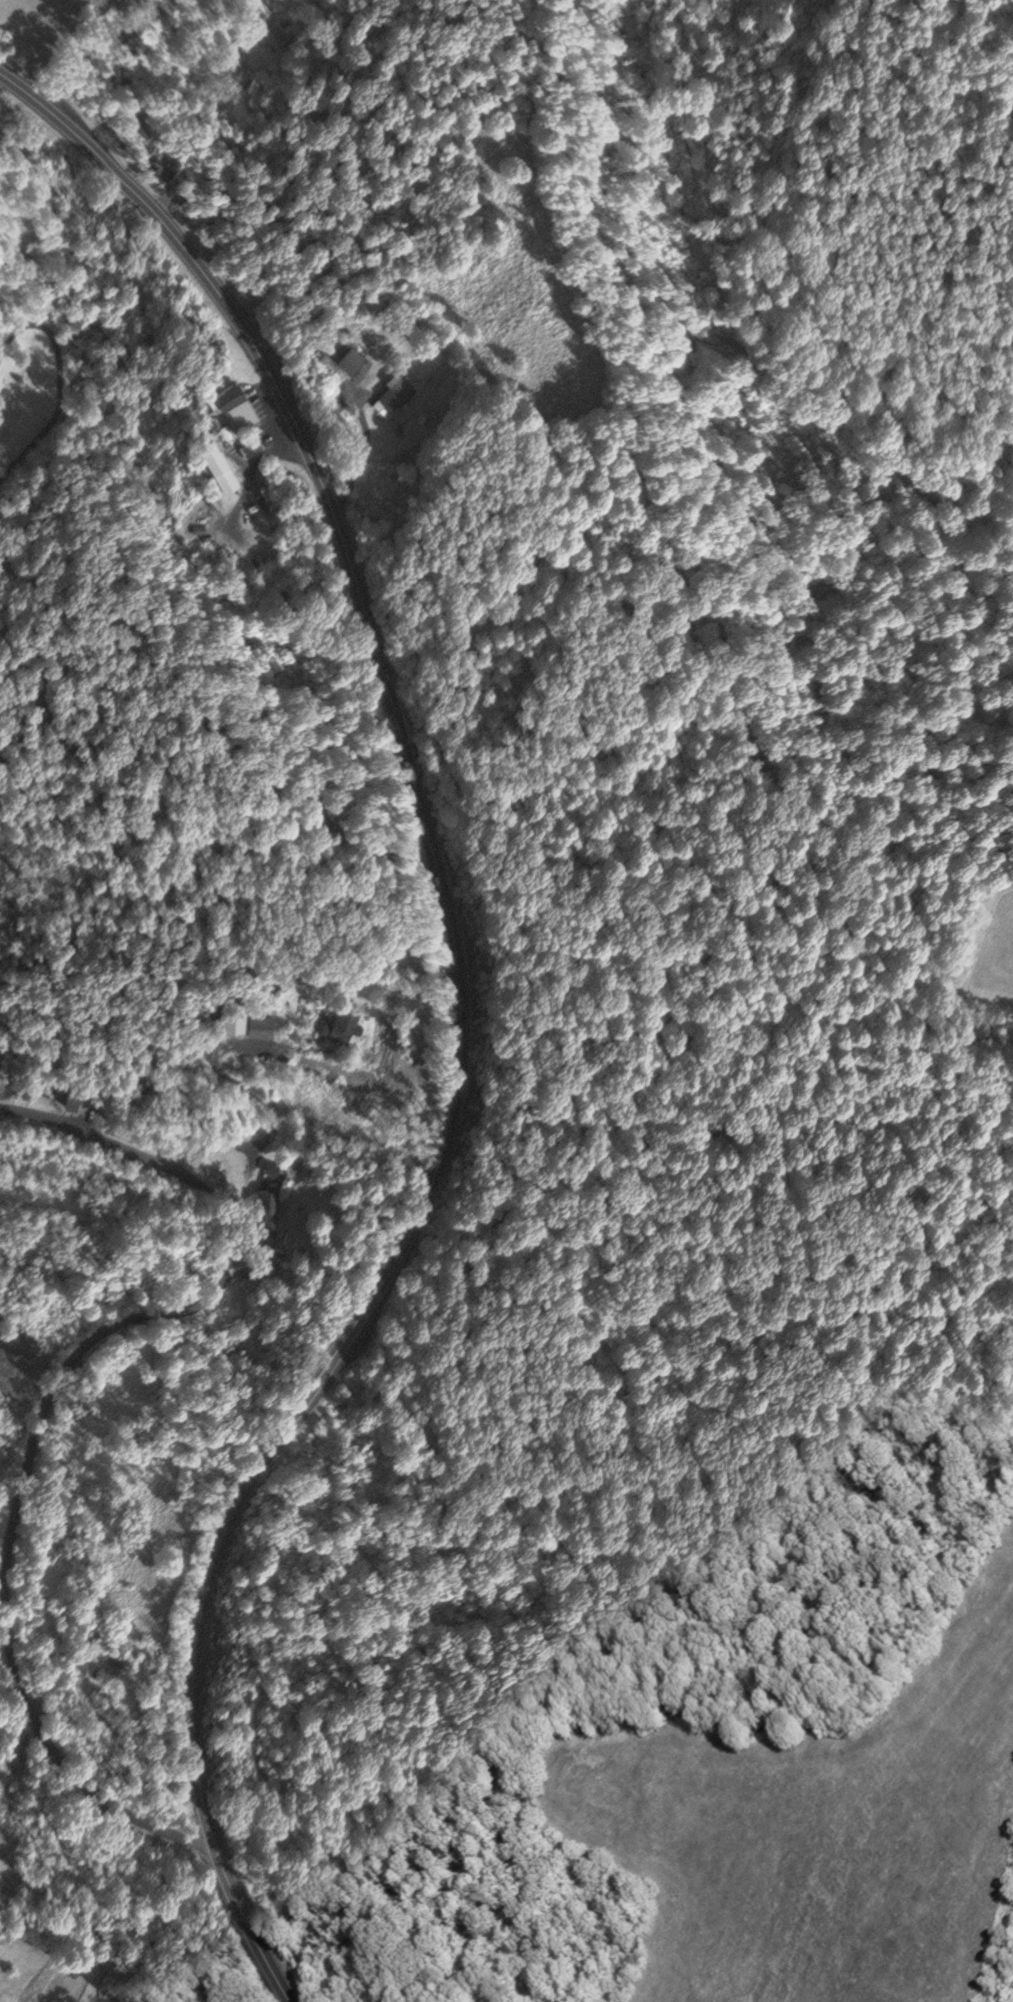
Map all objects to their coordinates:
road: (104, 49)
road: (326, 162)
road: (59, 379)
road: (1, 473)
road: (1, 480)
park: (1, 961)
road: (466, 1011)
road: (46, 1406)

